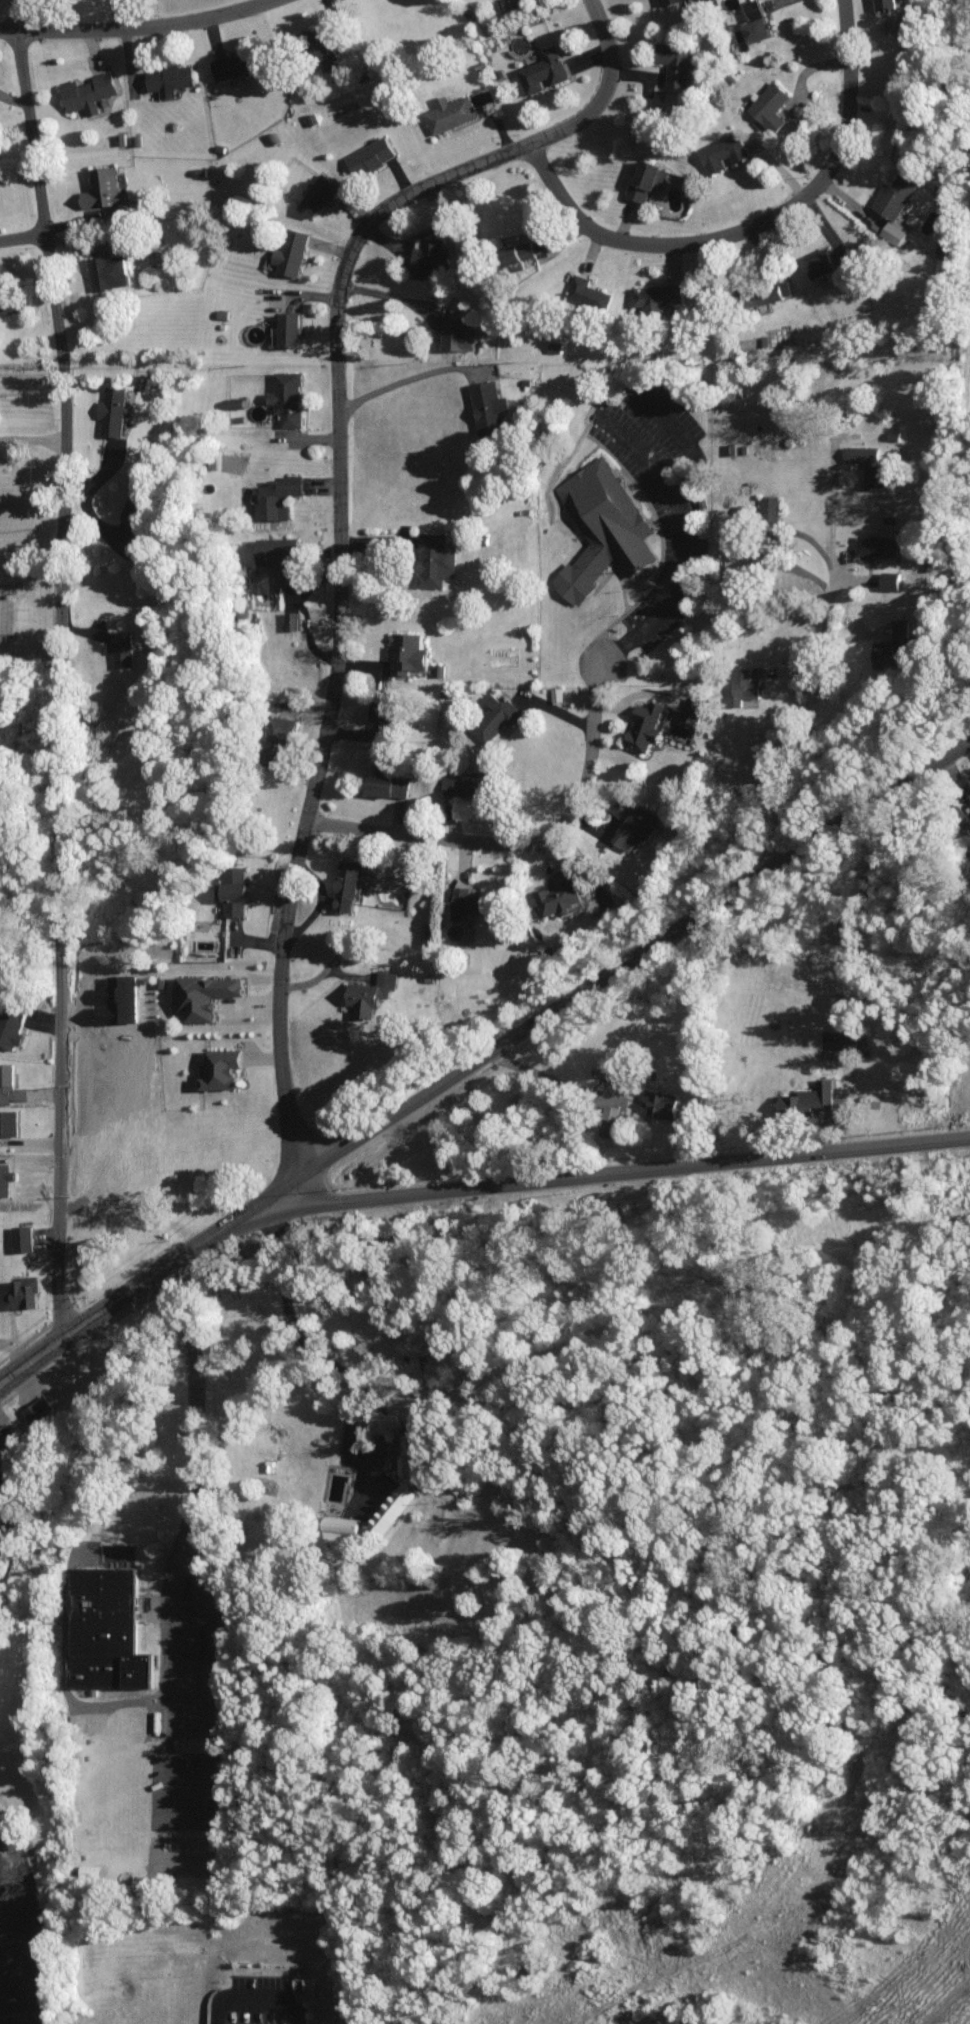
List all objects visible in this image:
building: (662, 1)
building: (891, 3)
road: (114, 11)
building: (755, 21)
building: (327, 52)
building: (674, 61)
building: (235, 63)
building: (540, 68)
building: (168, 77)
building: (89, 90)
building: (773, 104)
building: (452, 111)
building: (723, 149)
building: (370, 156)
building: (648, 177)
building: (106, 191)
building: (319, 192)
building: (896, 193)
road: (23, 224)
road: (752, 228)
building: (895, 231)
building: (522, 249)
building: (291, 250)
building: (432, 256)
building: (826, 258)
building: (110, 271)
building: (771, 291)
building: (587, 294)
building: (659, 294)
building: (9, 302)
building: (290, 326)
building: (457, 332)
building: (555, 345)
road: (405, 375)
building: (287, 395)
building: (116, 410)
building: (493, 413)
road: (34, 438)
building: (871, 464)
building: (280, 495)
building: (771, 504)
building: (136, 507)
road: (333, 515)
building: (604, 532)
road: (686, 540)
building: (878, 544)
building: (280, 557)
building: (744, 557)
building: (436, 559)
building: (890, 579)
road: (304, 611)
building: (292, 618)
building: (890, 641)
building: (121, 646)
building: (409, 650)
road: (818, 659)
road: (59, 666)
building: (744, 685)
building: (499, 708)
building: (693, 708)
building: (385, 715)
building: (649, 722)
building: (278, 736)
building: (969, 771)
building: (467, 780)
building: (388, 785)
building: (640, 825)
road: (519, 842)
building: (349, 883)
building: (233, 888)
building: (558, 892)
building: (474, 902)
road: (628, 957)
building: (207, 990)
building: (371, 992)
building: (11, 1025)
building: (226, 1066)
road: (551, 1080)
building: (10, 1083)
building: (811, 1096)
building: (661, 1102)
building: (8, 1120)
building: (609, 1120)
road: (627, 1169)
road: (223, 1223)
building: (22, 1236)
building: (22, 1291)
road: (107, 1302)
road: (287, 1309)
road: (28, 1358)
road: (196, 1403)
building: (39, 1408)
building: (7, 1436)
building: (399, 1479)
building: (4, 1480)
road: (14, 1511)
building: (2, 1514)
building: (339, 1526)
road: (170, 1620)
road: (211, 1627)
building: (109, 1629)
road: (63, 1671)
road: (182, 1718)
building: (96, 1867)
road: (48, 1927)
road: (24, 1957)
parking lot: (20, 1963)
parking lot: (270, 1988)
road: (268, 1991)
road: (32, 2006)
parking lot: (296, 2017)
building: (261, 2021)

